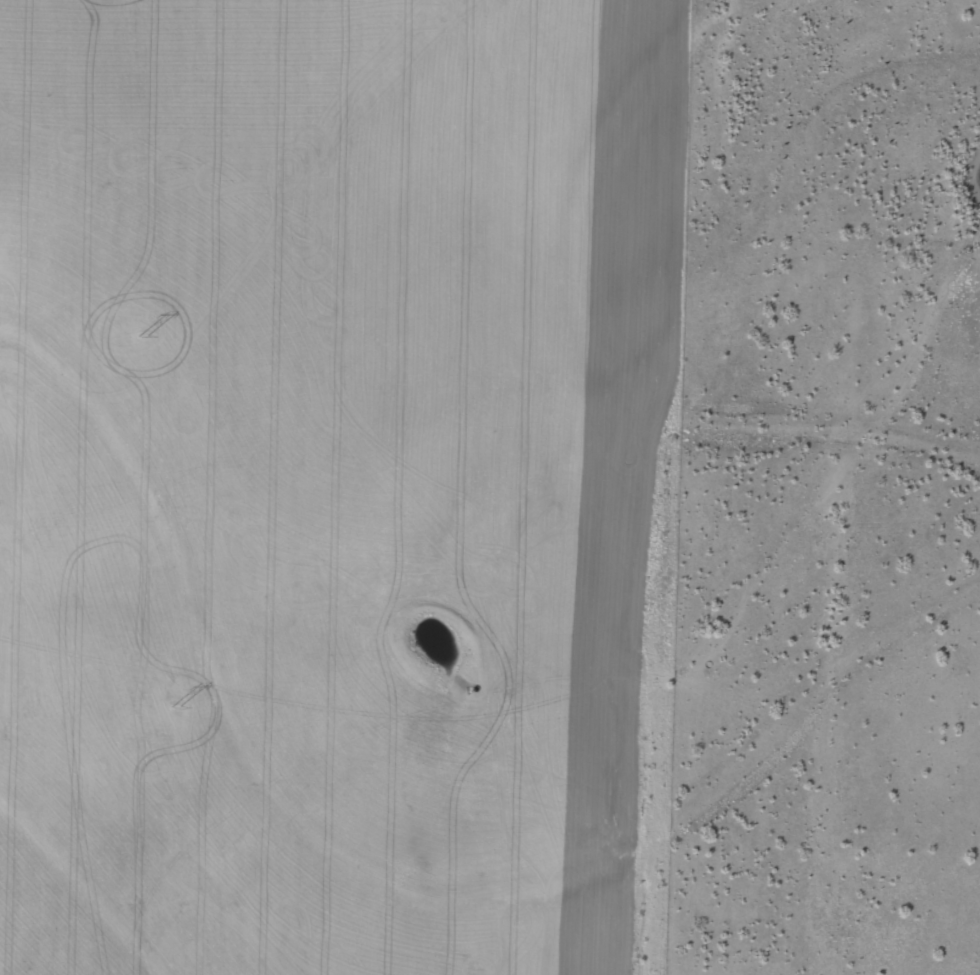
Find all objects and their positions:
power tower: (145, 338)
power tower: (177, 708)

